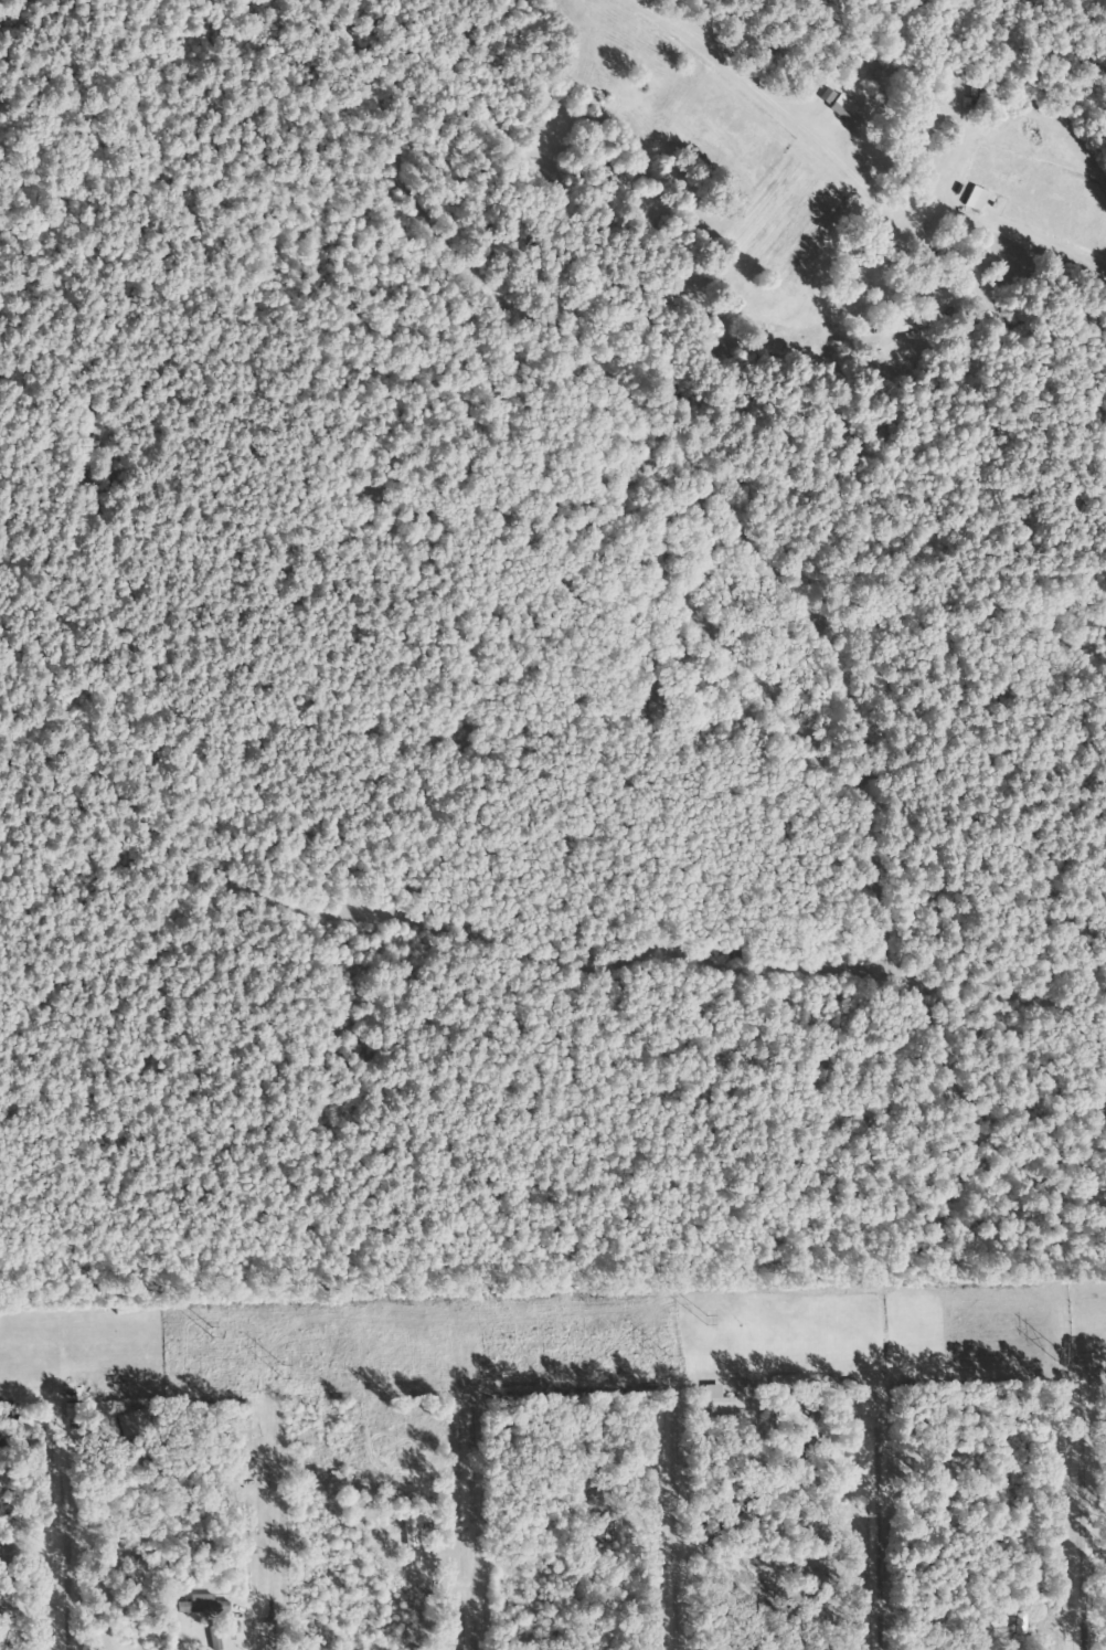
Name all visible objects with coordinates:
power tower: (700, 1315)
power tower: (200, 1325)
power tower: (1049, 1350)
power tower: (663, 1361)
power tower: (276, 1368)
building: (715, 1399)
building: (809, 1450)
road: (1085, 1523)
building: (407, 1529)
road: (252, 1532)
road: (653, 1534)
road: (52, 1540)
road: (453, 1540)
road: (861, 1553)
building: (3, 1562)
building: (200, 1605)
building: (1018, 1625)

